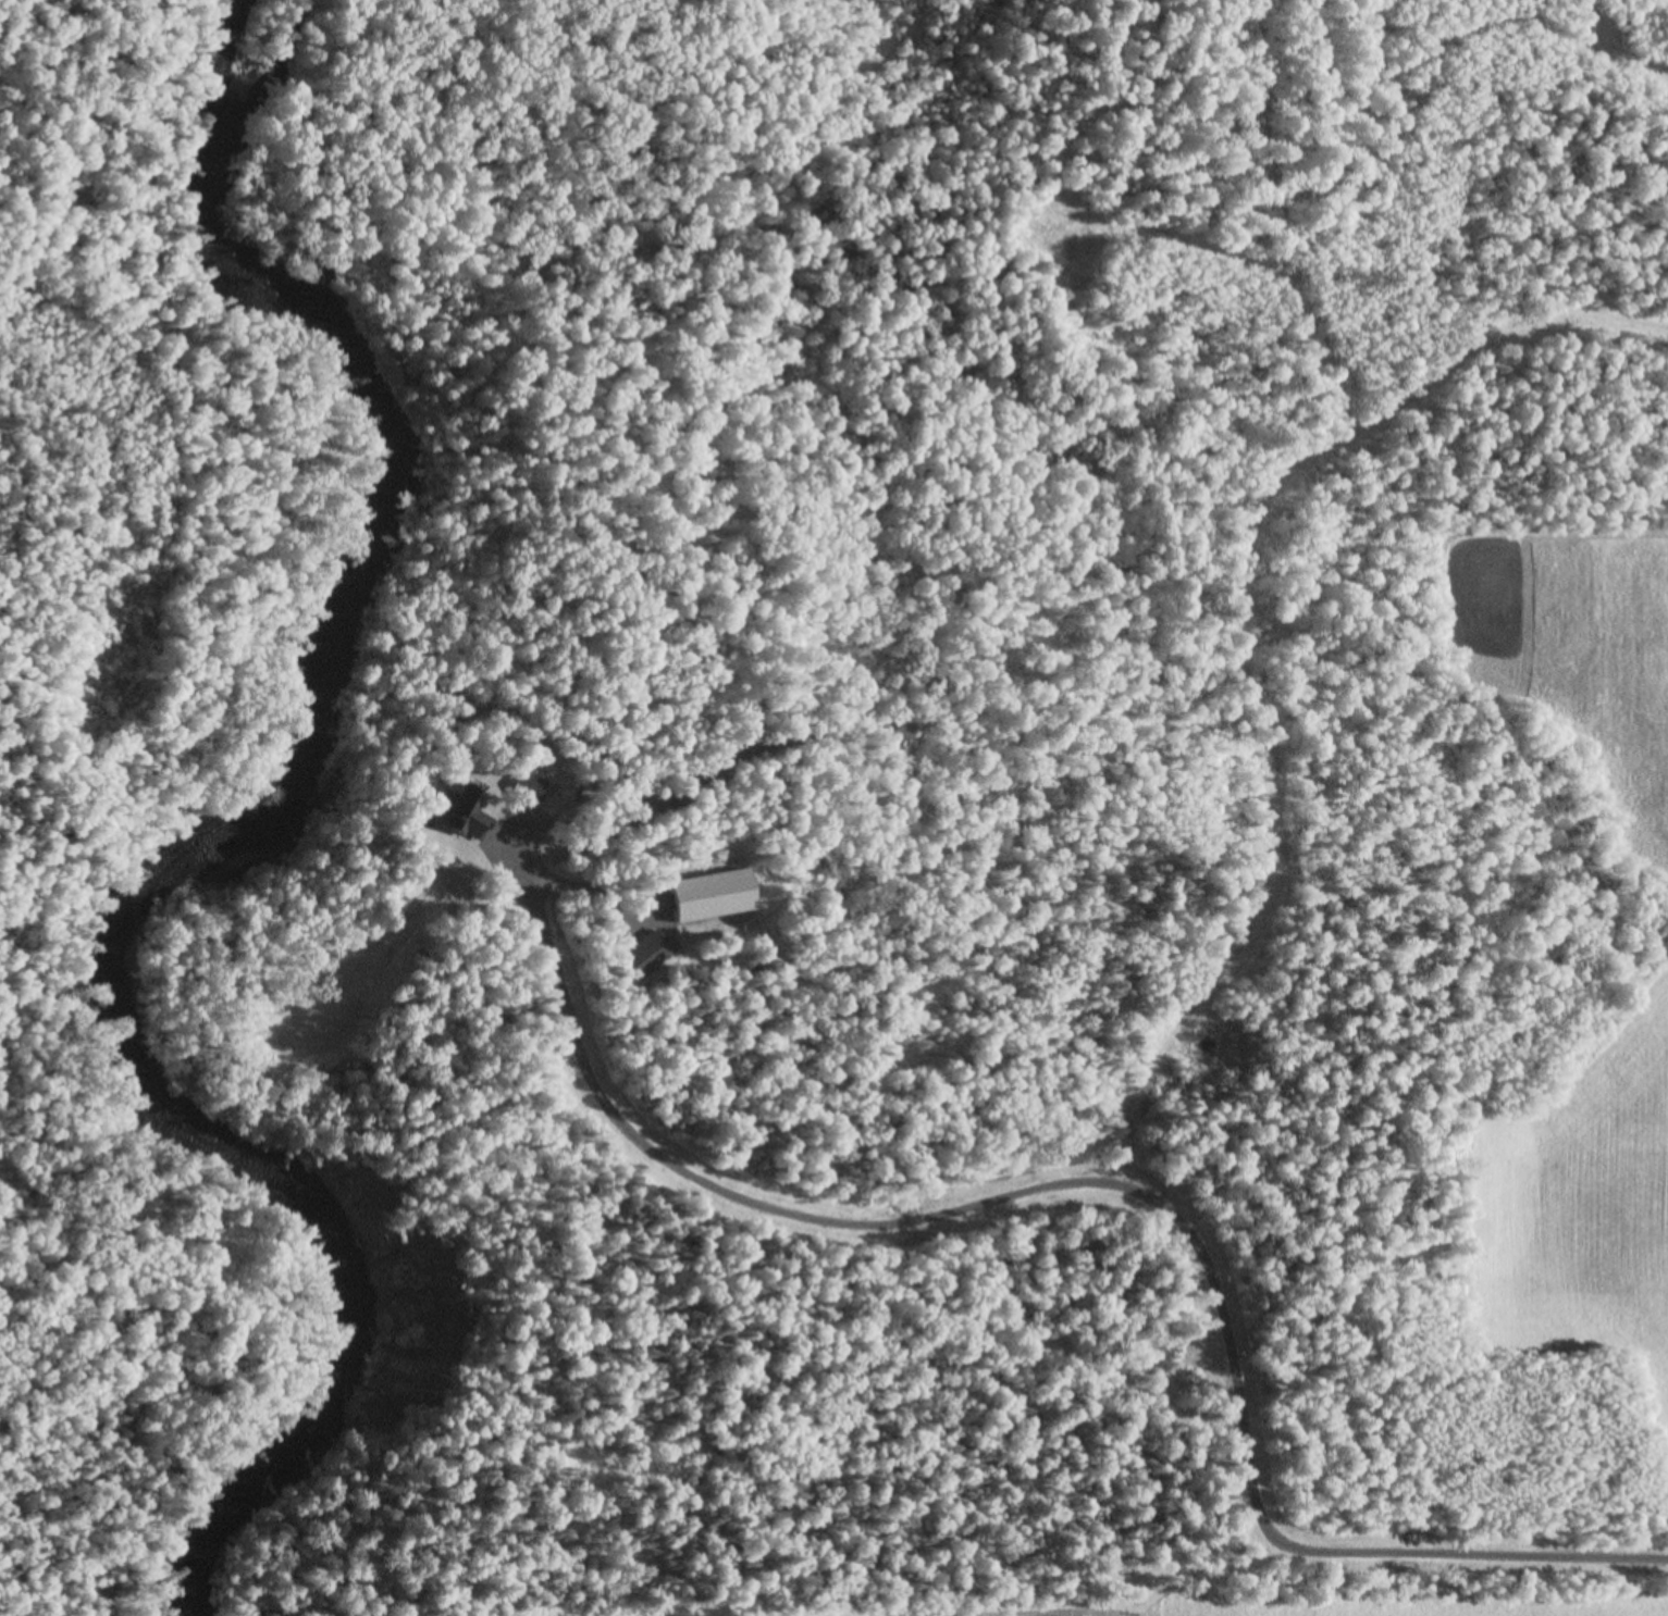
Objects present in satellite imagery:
crop: (1578, 650)
building: (521, 784)
building: (448, 807)
road: (493, 829)
river: (243, 847)
building: (704, 891)
building: (639, 950)
road: (1133, 1192)
crop: (1574, 1203)

